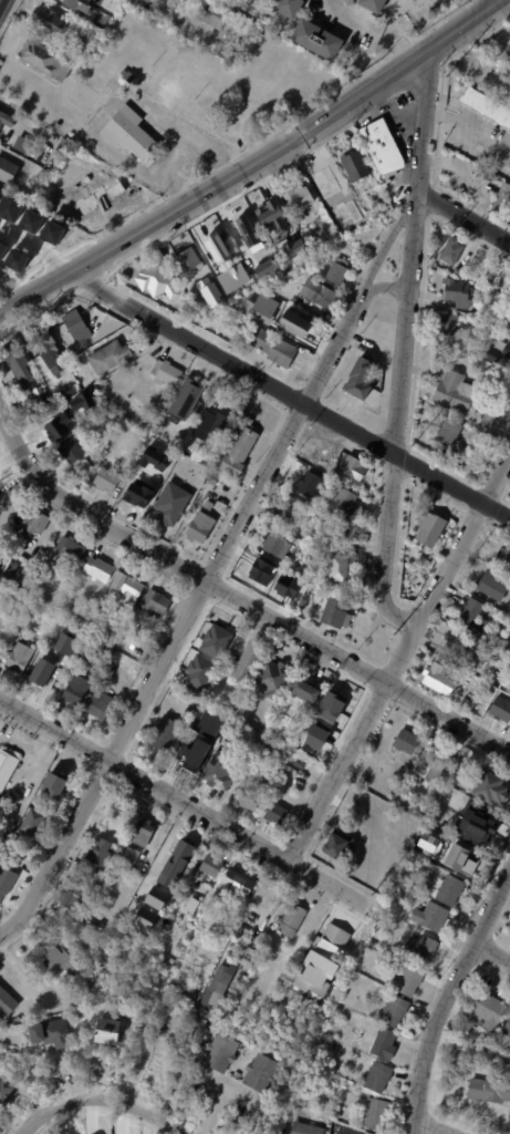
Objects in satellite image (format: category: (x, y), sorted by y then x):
building: (79, 4)
building: (375, 4)
building: (292, 8)
building: (216, 14)
building: (51, 20)
road: (372, 32)
building: (319, 39)
building: (74, 41)
building: (508, 55)
building: (48, 60)
road: (106, 105)
building: (486, 107)
building: (7, 120)
road: (423, 120)
building: (132, 133)
building: (20, 144)
building: (63, 145)
building: (384, 146)
road: (174, 157)
road: (254, 164)
building: (356, 165)
building: (9, 169)
building: (479, 173)
building: (393, 182)
building: (98, 193)
building: (395, 194)
building: (299, 197)
building: (500, 199)
building: (10, 207)
building: (275, 215)
road: (464, 215)
building: (31, 219)
building: (327, 228)
building: (54, 231)
road: (386, 241)
road: (37, 247)
building: (248, 248)
building: (3, 249)
building: (305, 250)
building: (217, 251)
building: (290, 251)
building: (450, 251)
building: (18, 259)
building: (189, 259)
power tower: (427, 259)
building: (340, 271)
building: (456, 271)
building: (294, 275)
building: (232, 278)
building: (155, 280)
road: (383, 286)
building: (455, 292)
building: (321, 293)
building: (448, 323)
building: (76, 326)
building: (308, 328)
building: (65, 340)
building: (46, 346)
building: (275, 347)
building: (506, 349)
building: (458, 350)
building: (70, 353)
building: (111, 357)
building: (18, 360)
building: (76, 362)
building: (167, 374)
building: (8, 377)
building: (362, 378)
building: (456, 393)
road: (289, 395)
building: (188, 399)
building: (81, 401)
building: (45, 402)
road: (394, 415)
building: (58, 419)
building: (489, 420)
building: (216, 426)
building: (444, 431)
power tower: (410, 446)
building: (72, 451)
building: (239, 452)
building: (327, 452)
building: (168, 456)
building: (356, 468)
building: (1, 473)
building: (110, 478)
building: (216, 478)
building: (310, 481)
building: (169, 489)
building: (142, 495)
building: (344, 503)
building: (294, 512)
building: (171, 515)
building: (34, 519)
building: (201, 528)
building: (424, 528)
building: (278, 546)
building: (73, 548)
building: (502, 559)
building: (419, 560)
building: (341, 567)
building: (101, 570)
building: (264, 570)
building: (491, 585)
building: (128, 590)
building: (107, 598)
road: (239, 599)
building: (155, 604)
building: (337, 614)
building: (470, 615)
building: (100, 617)
building: (45, 618)
road: (185, 618)
building: (135, 628)
power tower: (393, 631)
building: (15, 638)
building: (215, 640)
building: (63, 642)
building: (457, 645)
building: (104, 654)
road: (397, 656)
building: (21, 658)
building: (249, 661)
building: (490, 664)
building: (43, 671)
building: (198, 671)
building: (111, 673)
building: (275, 678)
building: (436, 679)
building: (464, 679)
building: (79, 689)
building: (306, 691)
building: (340, 700)
building: (102, 704)
building: (498, 711)
building: (197, 731)
building: (167, 734)
building: (305, 739)
building: (408, 741)
building: (263, 750)
building: (277, 759)
building: (191, 763)
building: (302, 763)
building: (440, 766)
building: (7, 769)
building: (220, 771)
building: (59, 784)
building: (384, 786)
building: (492, 788)
building: (254, 797)
building: (452, 800)
road: (184, 802)
building: (378, 812)
building: (278, 813)
building: (440, 818)
building: (34, 823)
building: (475, 824)
building: (145, 833)
road: (164, 846)
building: (339, 846)
building: (428, 847)
building: (116, 848)
building: (185, 849)
building: (101, 852)
building: (133, 854)
building: (461, 859)
building: (166, 862)
building: (214, 865)
building: (157, 874)
building: (168, 874)
building: (6, 878)
building: (241, 884)
building: (452, 890)
building: (393, 891)
power tower: (371, 895)
building: (75, 896)
building: (156, 897)
building: (195, 905)
building: (216, 906)
building: (434, 916)
building: (144, 917)
building: (293, 919)
building: (388, 919)
building: (96, 924)
building: (207, 925)
building: (181, 945)
building: (334, 945)
building: (423, 949)
building: (250, 953)
road: (490, 953)
building: (365, 955)
building: (264, 957)
building: (60, 962)
building: (315, 973)
building: (408, 979)
building: (174, 988)
building: (219, 990)
building: (94, 991)
road: (448, 997)
building: (8, 1002)
building: (396, 1011)
building: (491, 1013)
building: (508, 1031)
building: (58, 1032)
building: (111, 1032)
building: (386, 1044)
building: (198, 1045)
building: (222, 1053)
building: (487, 1056)
building: (264, 1073)
building: (239, 1074)
building: (381, 1078)
building: (491, 1087)
building: (6, 1090)
road: (103, 1097)
building: (378, 1114)
building: (306, 1128)
road: (429, 1128)
building: (364, 1133)
building: (368, 1133)

